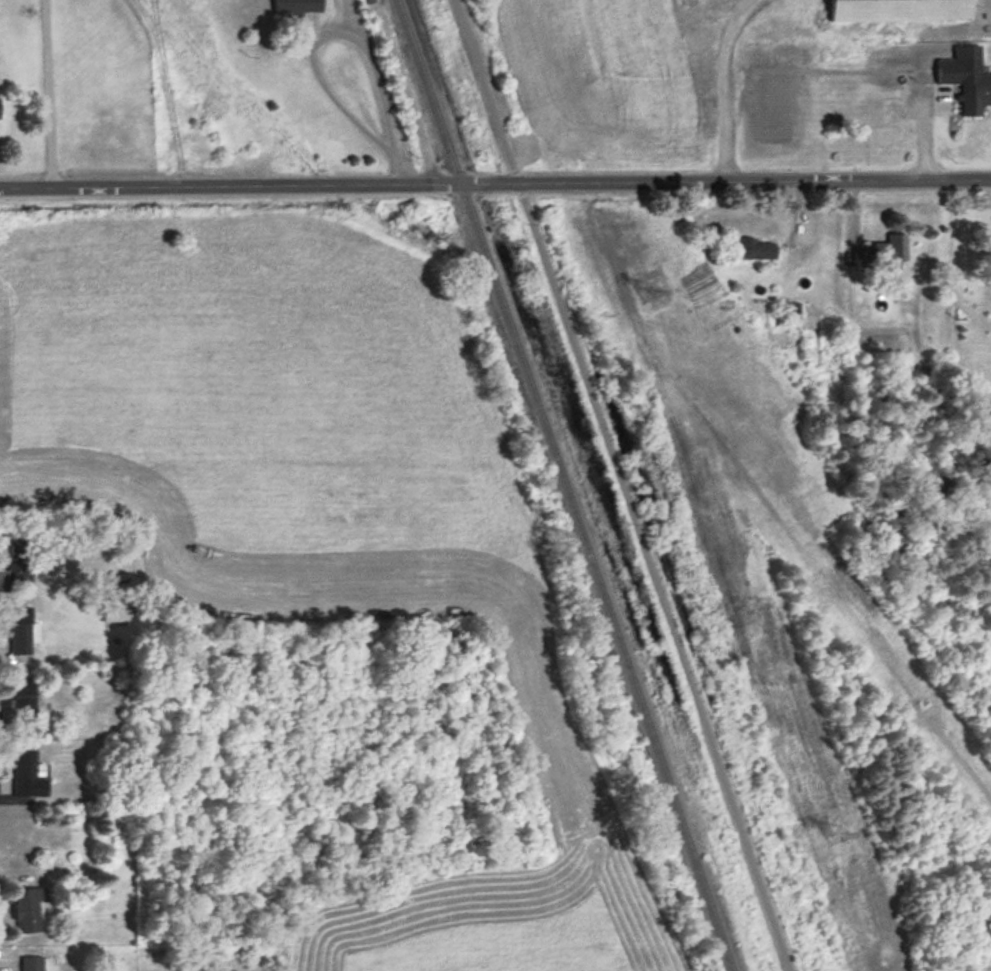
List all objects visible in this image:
building: (297, 6)
building: (900, 11)
road: (307, 41)
road: (927, 79)
road: (725, 87)
building: (973, 89)
road: (48, 92)
road: (495, 184)
building: (751, 251)
building: (883, 256)
power tower: (648, 294)
power tower: (604, 312)
railway: (564, 485)
road: (618, 485)
building: (19, 563)
building: (114, 613)
building: (19, 631)
building: (23, 698)
building: (26, 776)
power tower: (836, 836)
building: (27, 911)
building: (29, 964)

